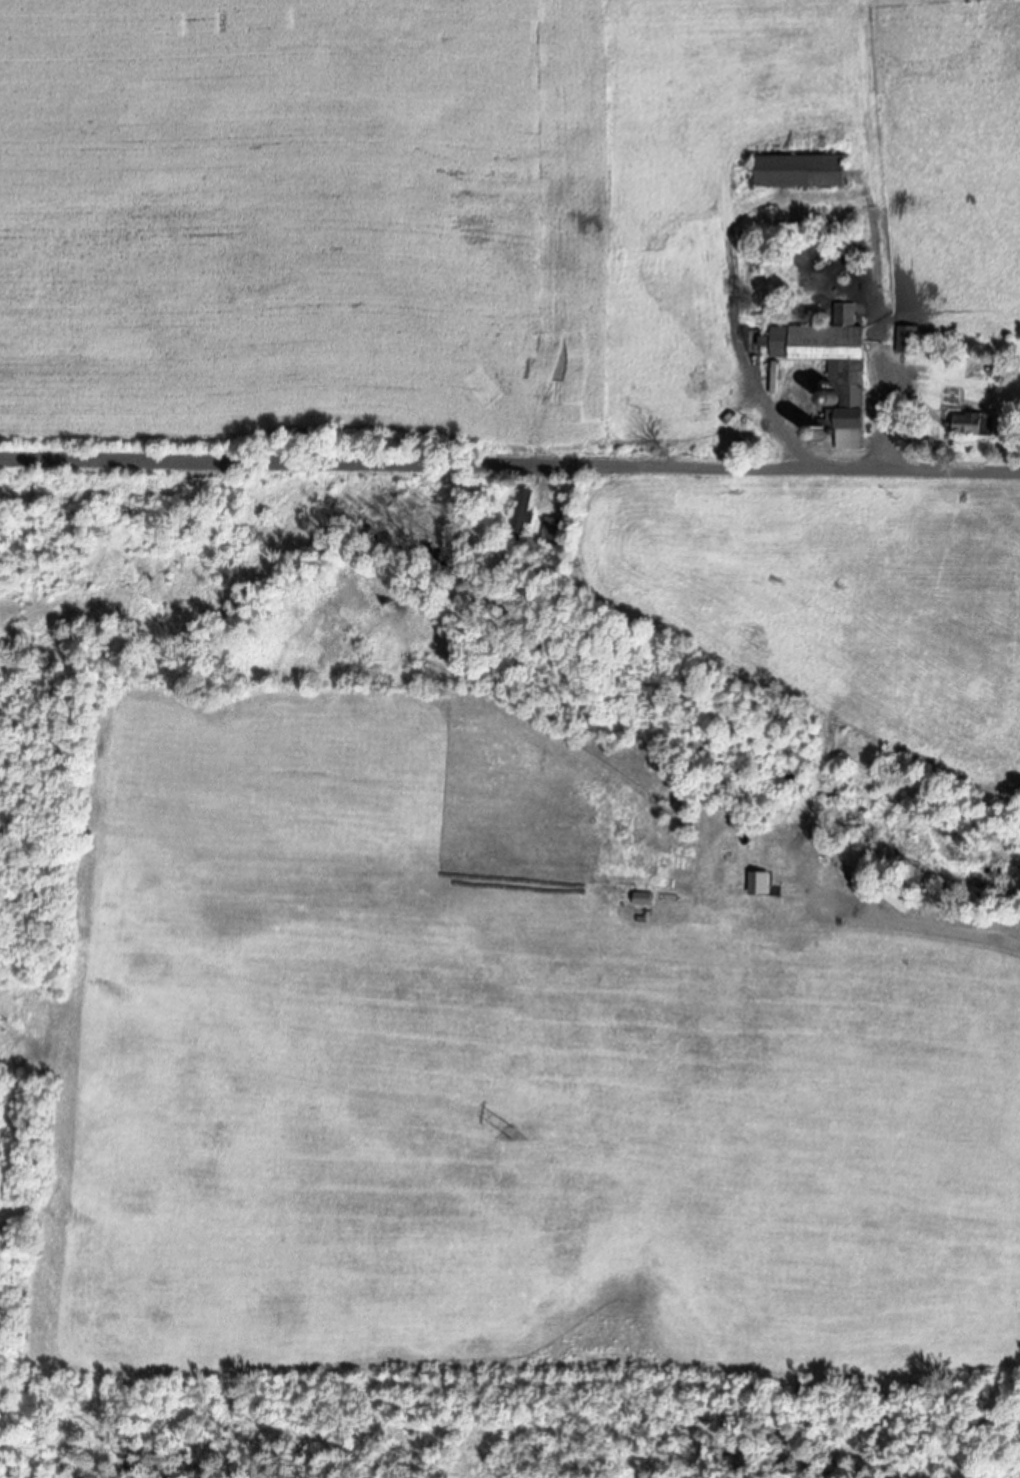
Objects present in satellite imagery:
building: (806, 174)
building: (912, 342)
building: (827, 345)
building: (779, 381)
building: (970, 425)
building: (842, 433)
road: (510, 442)
building: (527, 507)
building: (557, 530)
power tower: (7, 1027)
power tower: (511, 1134)

